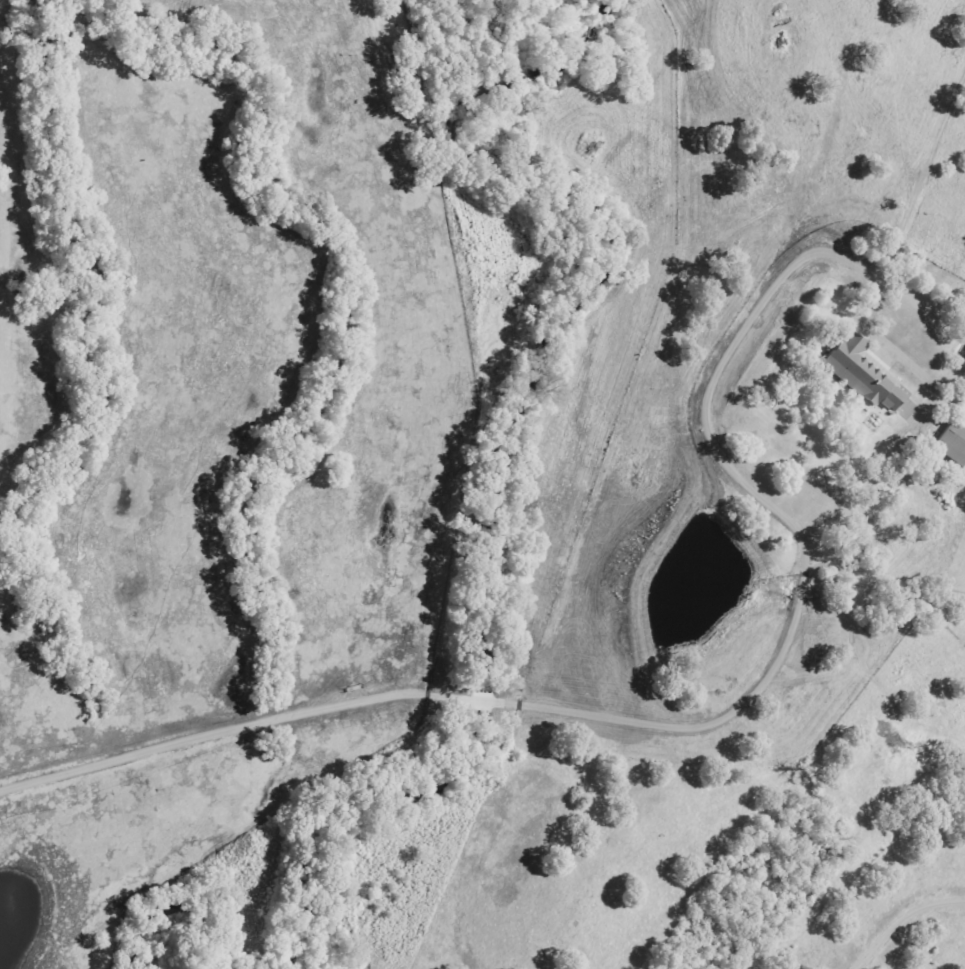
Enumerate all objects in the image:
road: (927, 156)
building: (964, 354)
building: (861, 373)
building: (952, 444)
road: (898, 916)

